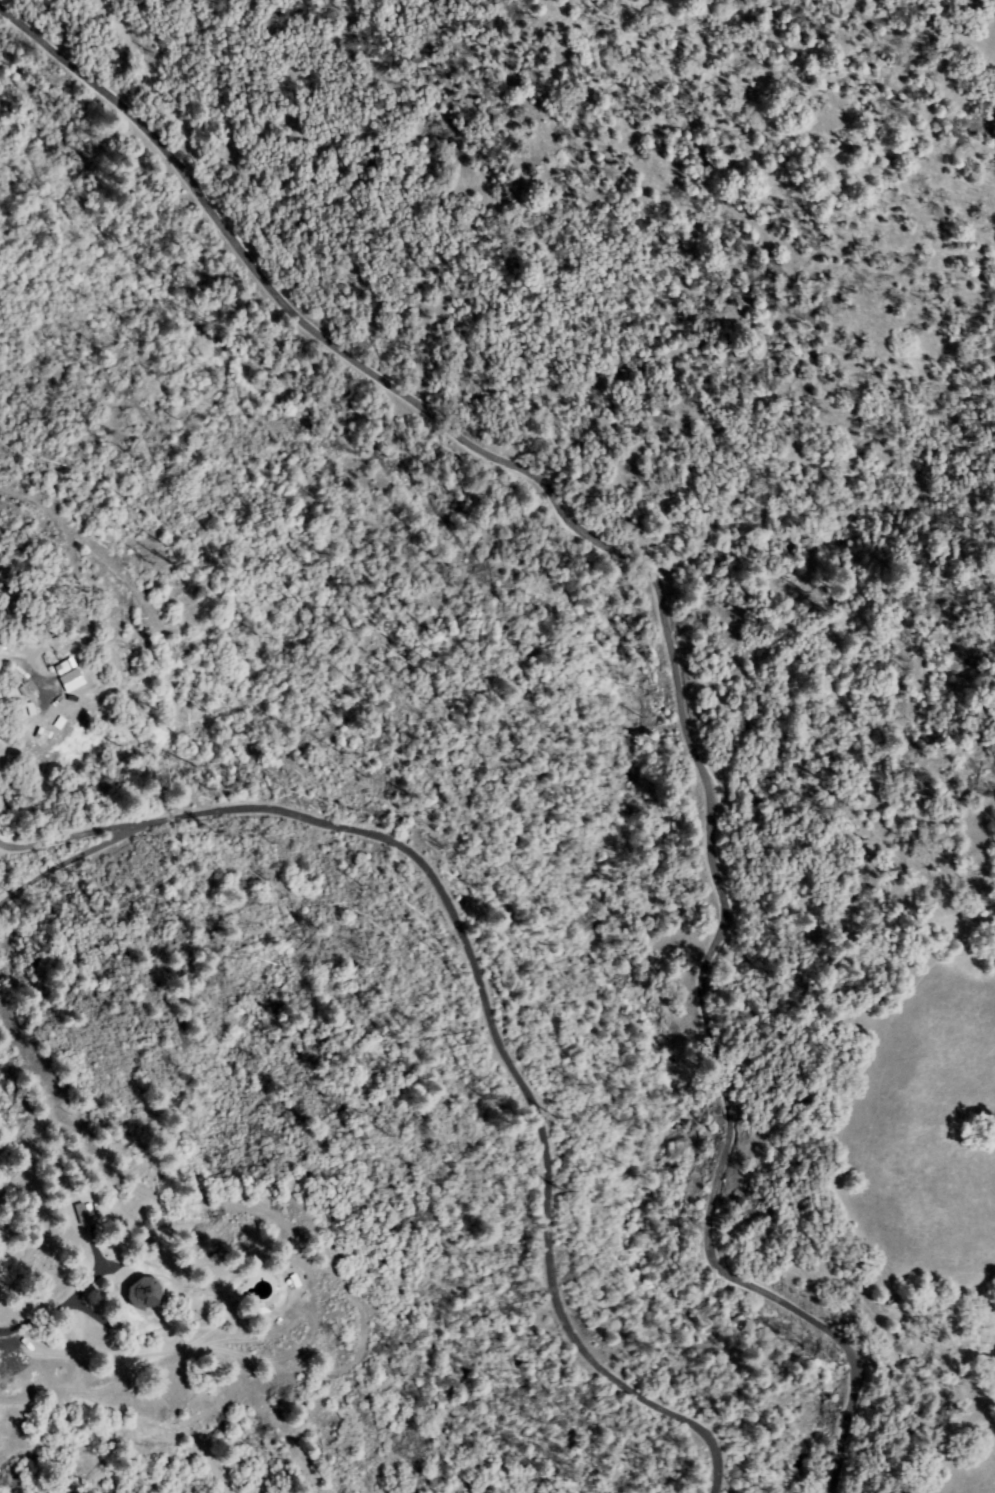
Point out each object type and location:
road: (665, 639)
building: (60, 668)
building: (40, 736)
road: (46, 969)
road: (497, 991)
building: (76, 1213)
building: (290, 1281)
building: (145, 1293)
road: (39, 1319)
road: (922, 1447)

